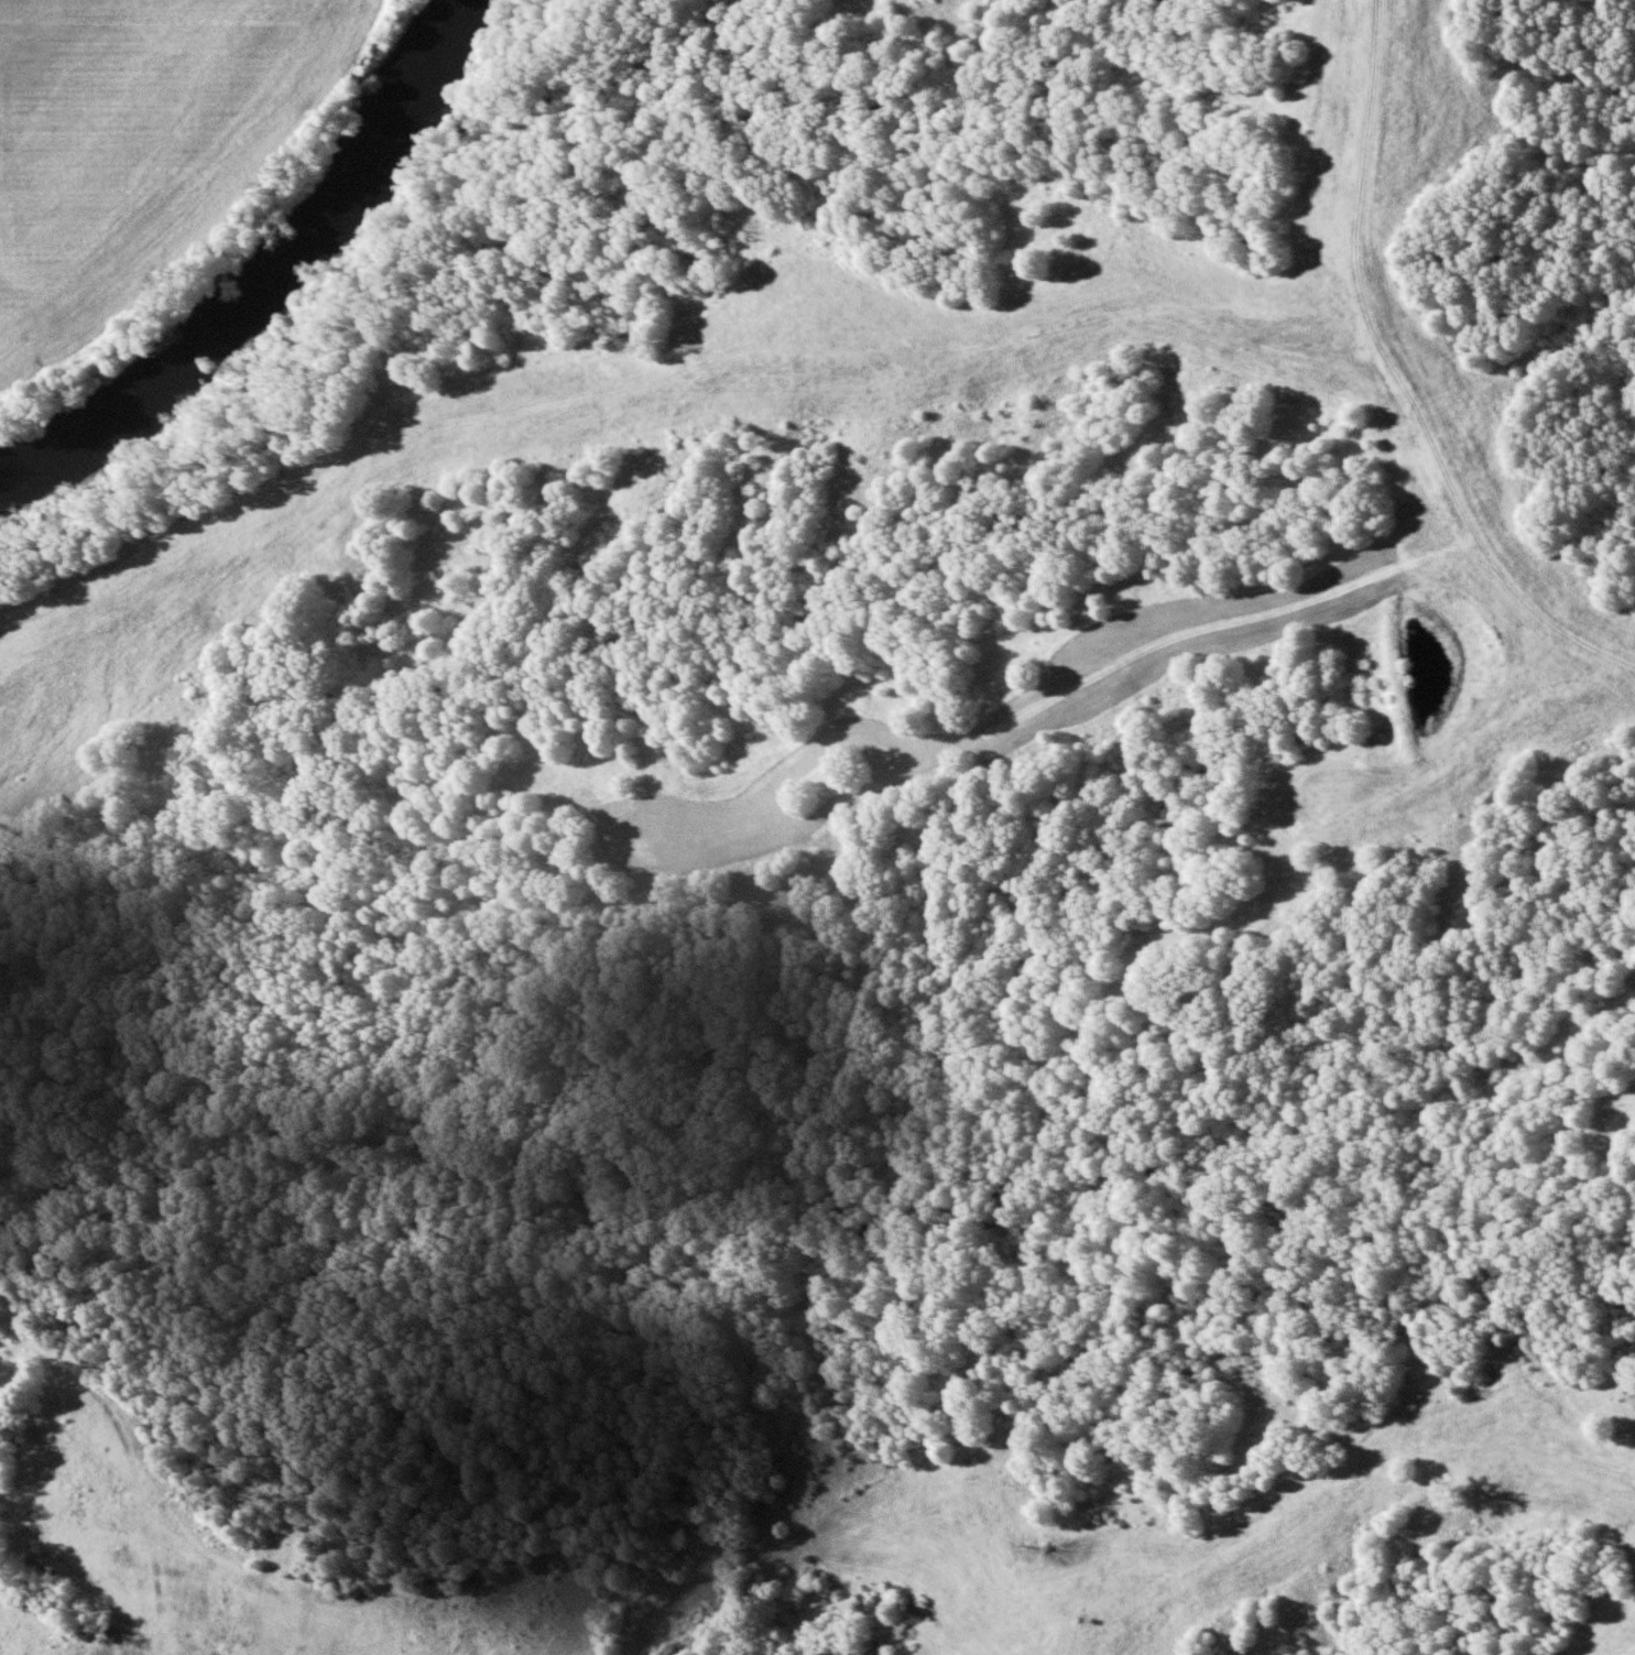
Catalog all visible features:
river: (277, 273)

